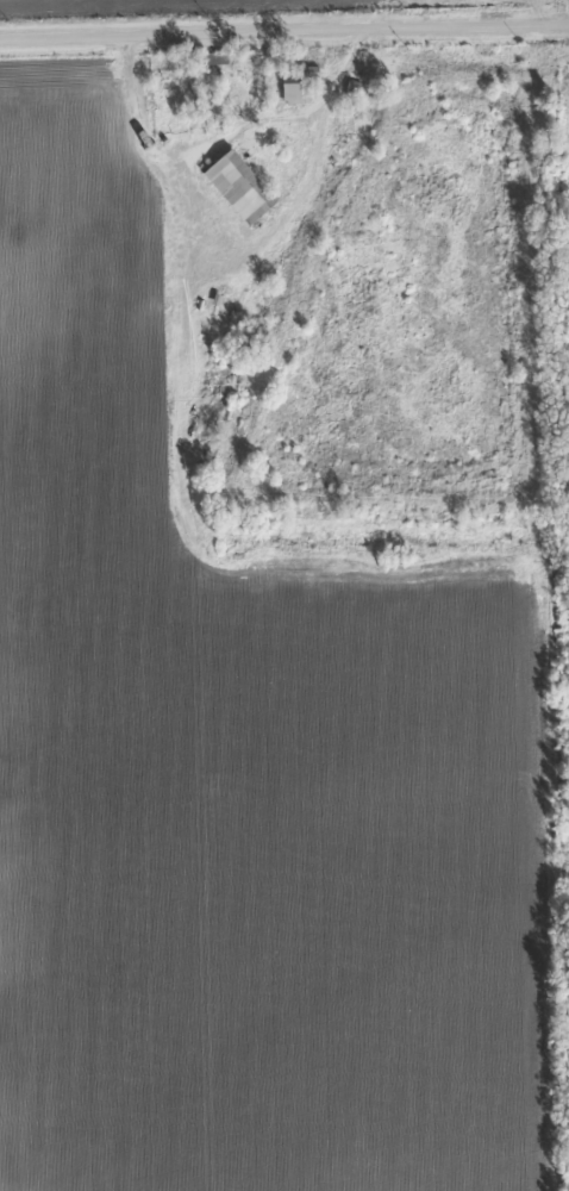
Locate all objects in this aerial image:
road: (284, 32)
building: (294, 92)
building: (240, 185)

